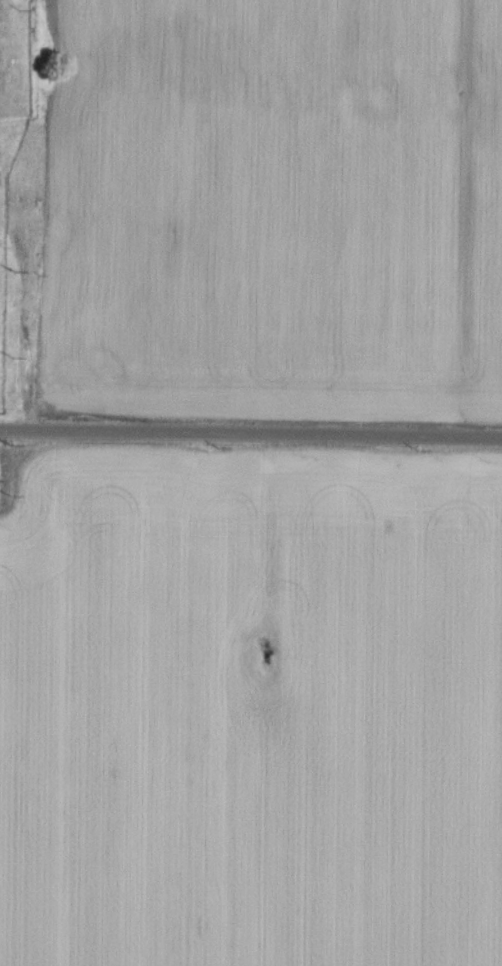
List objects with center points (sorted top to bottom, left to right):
road: (251, 434)
road: (274, 550)

